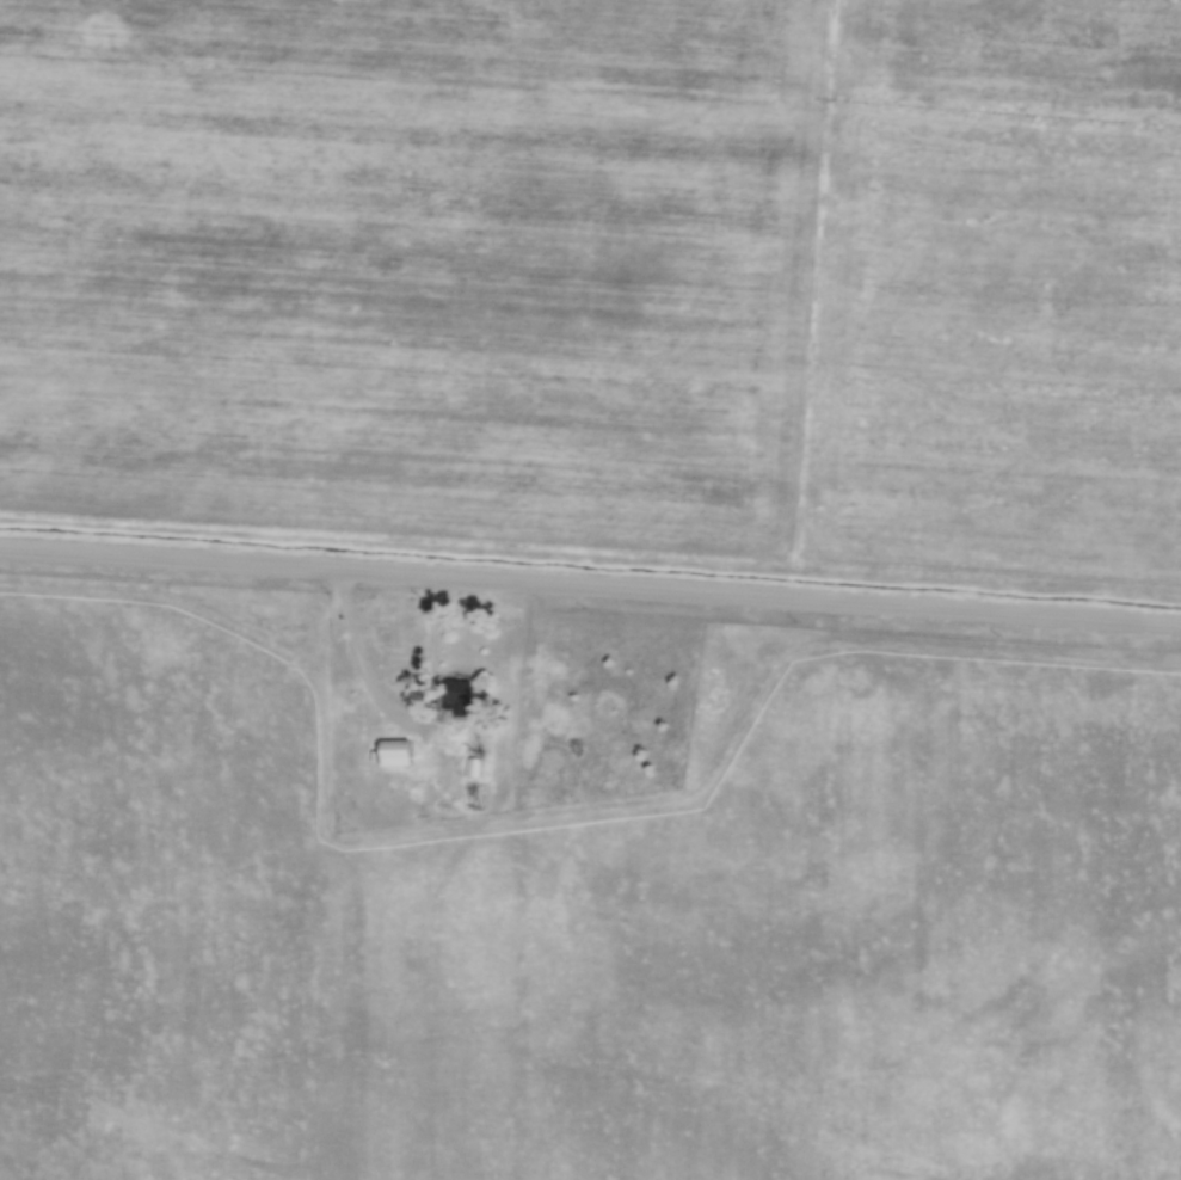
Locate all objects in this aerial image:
road: (590, 588)
road: (406, 715)
building: (393, 751)

